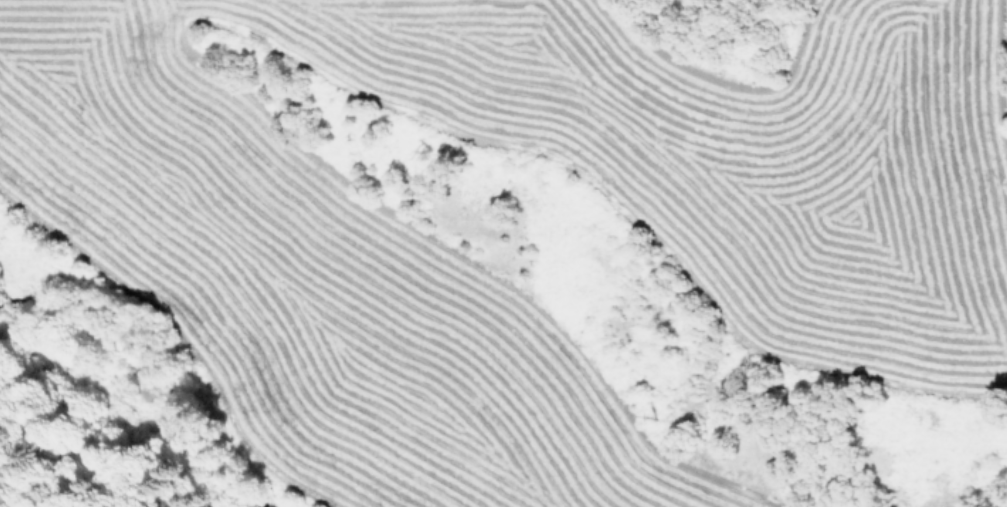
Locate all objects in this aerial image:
river: (205, 352)

